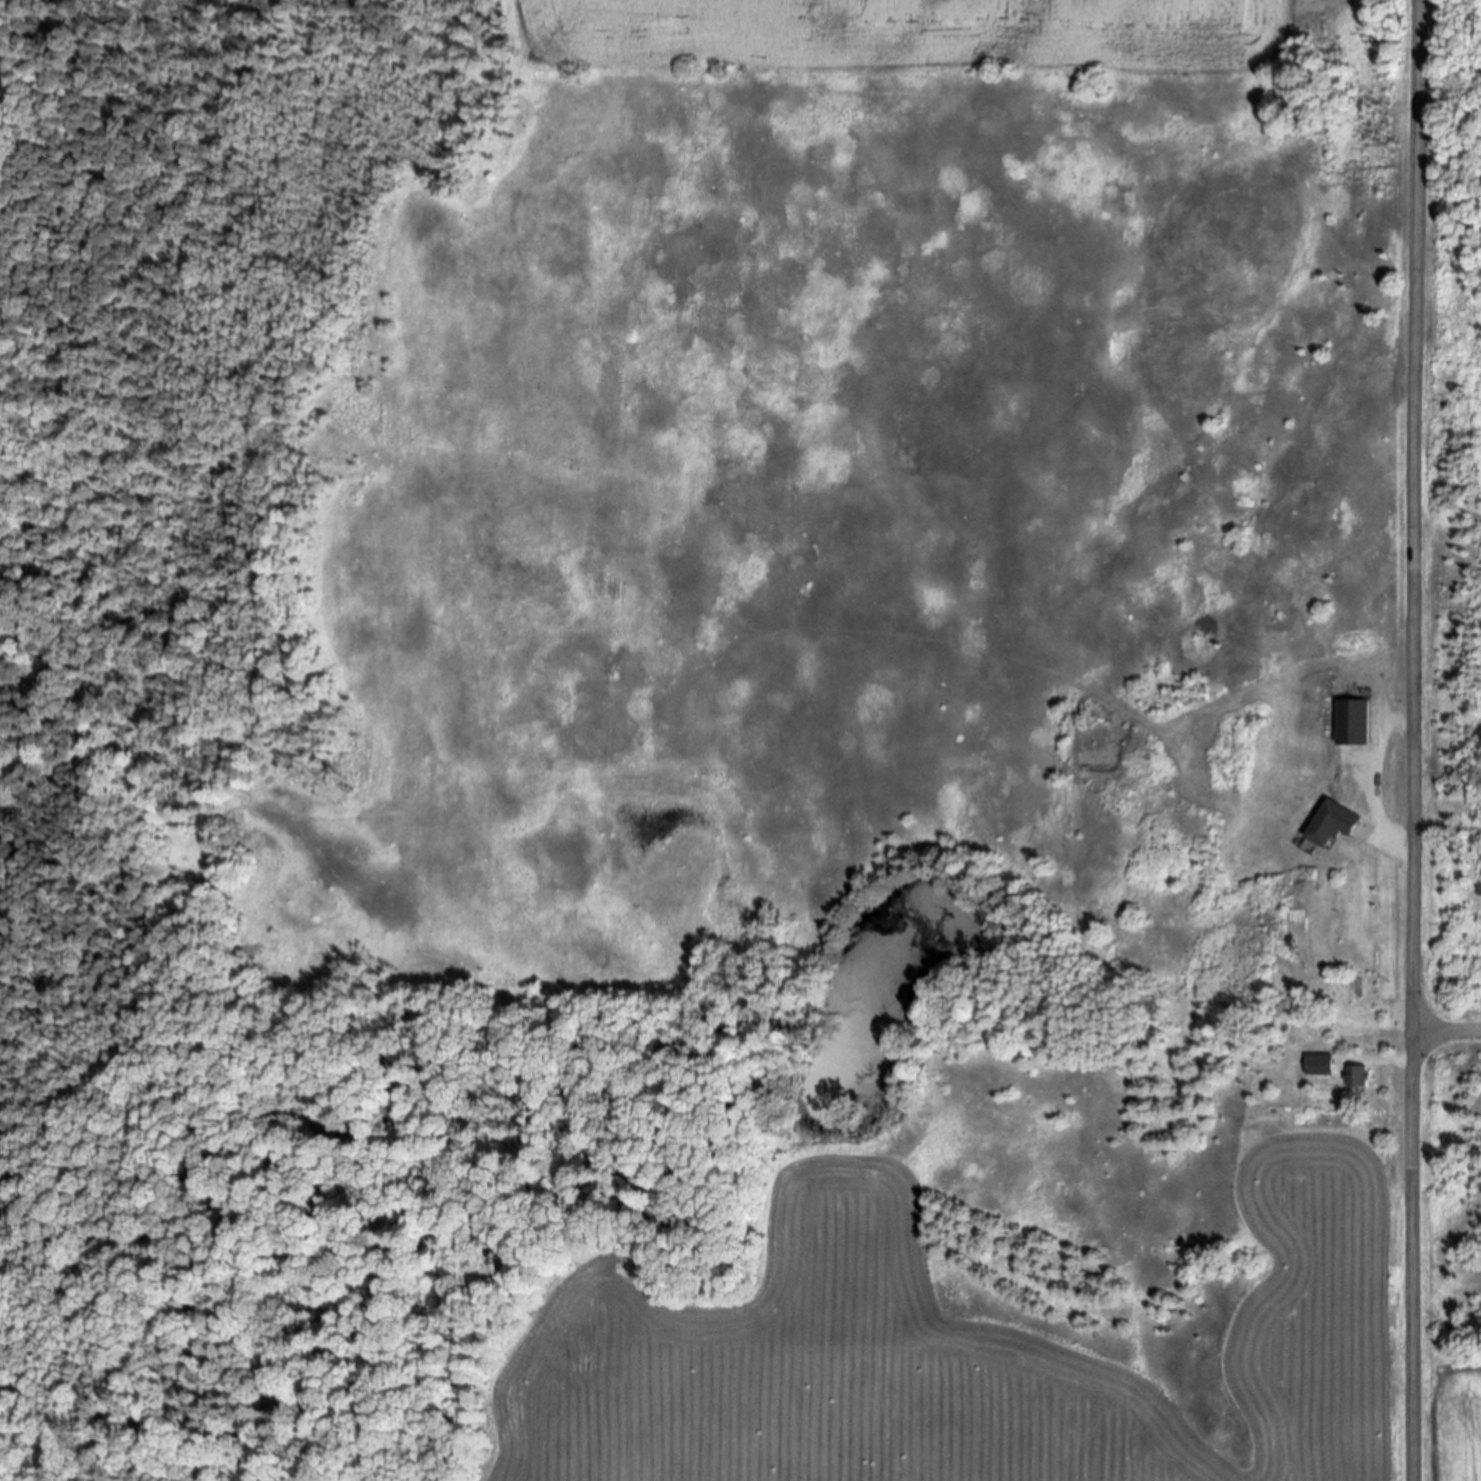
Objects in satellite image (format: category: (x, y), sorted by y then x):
power tower: (1397, 143)
building: (1353, 722)
road: (1414, 740)
building: (1332, 825)
road: (1447, 1031)
road: (1384, 1063)
building: (1319, 1066)
building: (1358, 1078)

